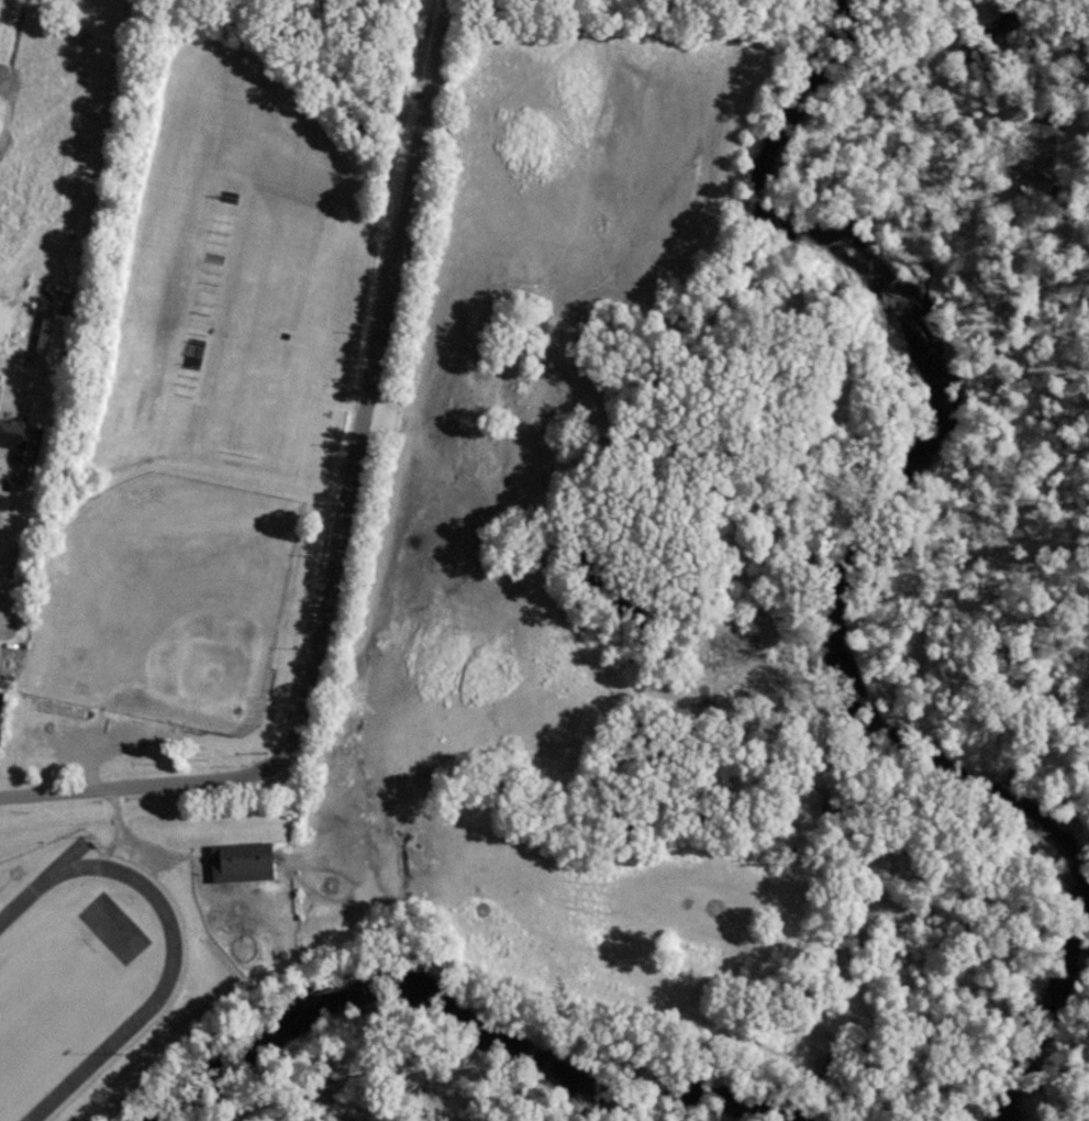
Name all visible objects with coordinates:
building: (46, 342)
building: (19, 437)
road: (4, 512)
road: (341, 521)
park: (163, 598)
parking lot: (58, 733)
road: (118, 821)
road: (144, 842)
building: (238, 859)
track: (163, 976)
park: (49, 996)

